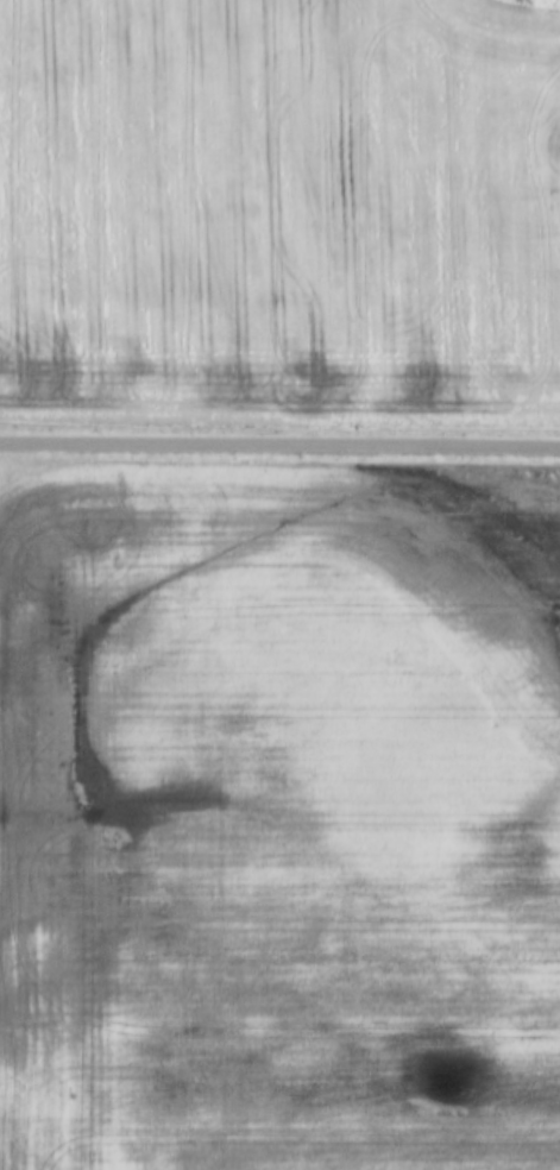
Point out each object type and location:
road: (279, 444)

